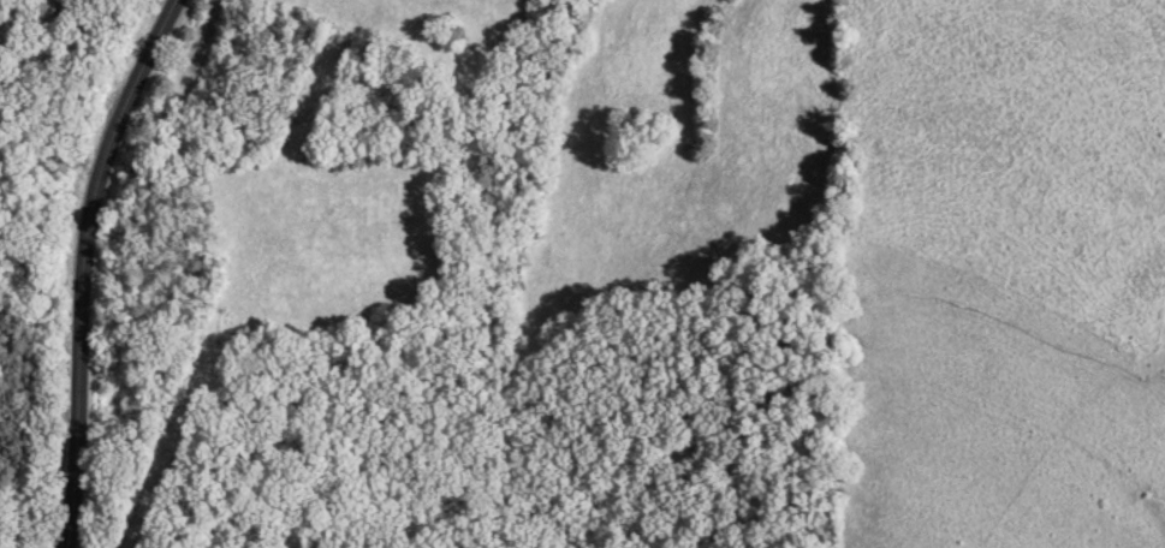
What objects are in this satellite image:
road: (65, 46)
road: (82, 264)

